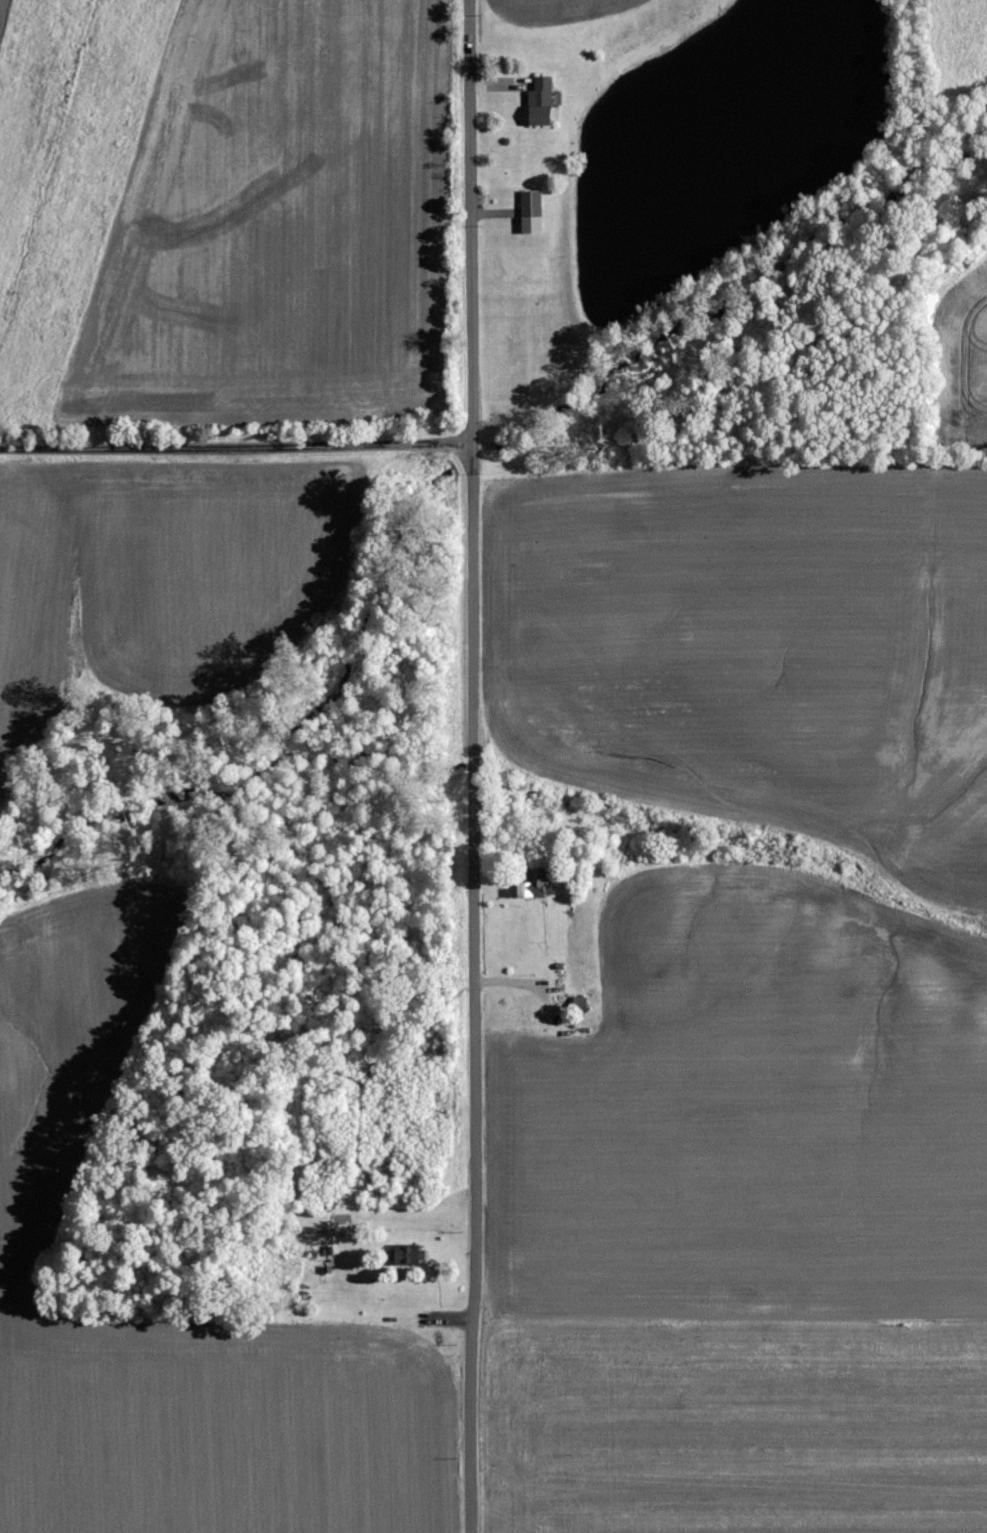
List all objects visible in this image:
building: (544, 101)
building: (534, 210)
road: (236, 448)
road: (476, 766)
building: (532, 886)
building: (582, 1003)
building: (412, 1255)

